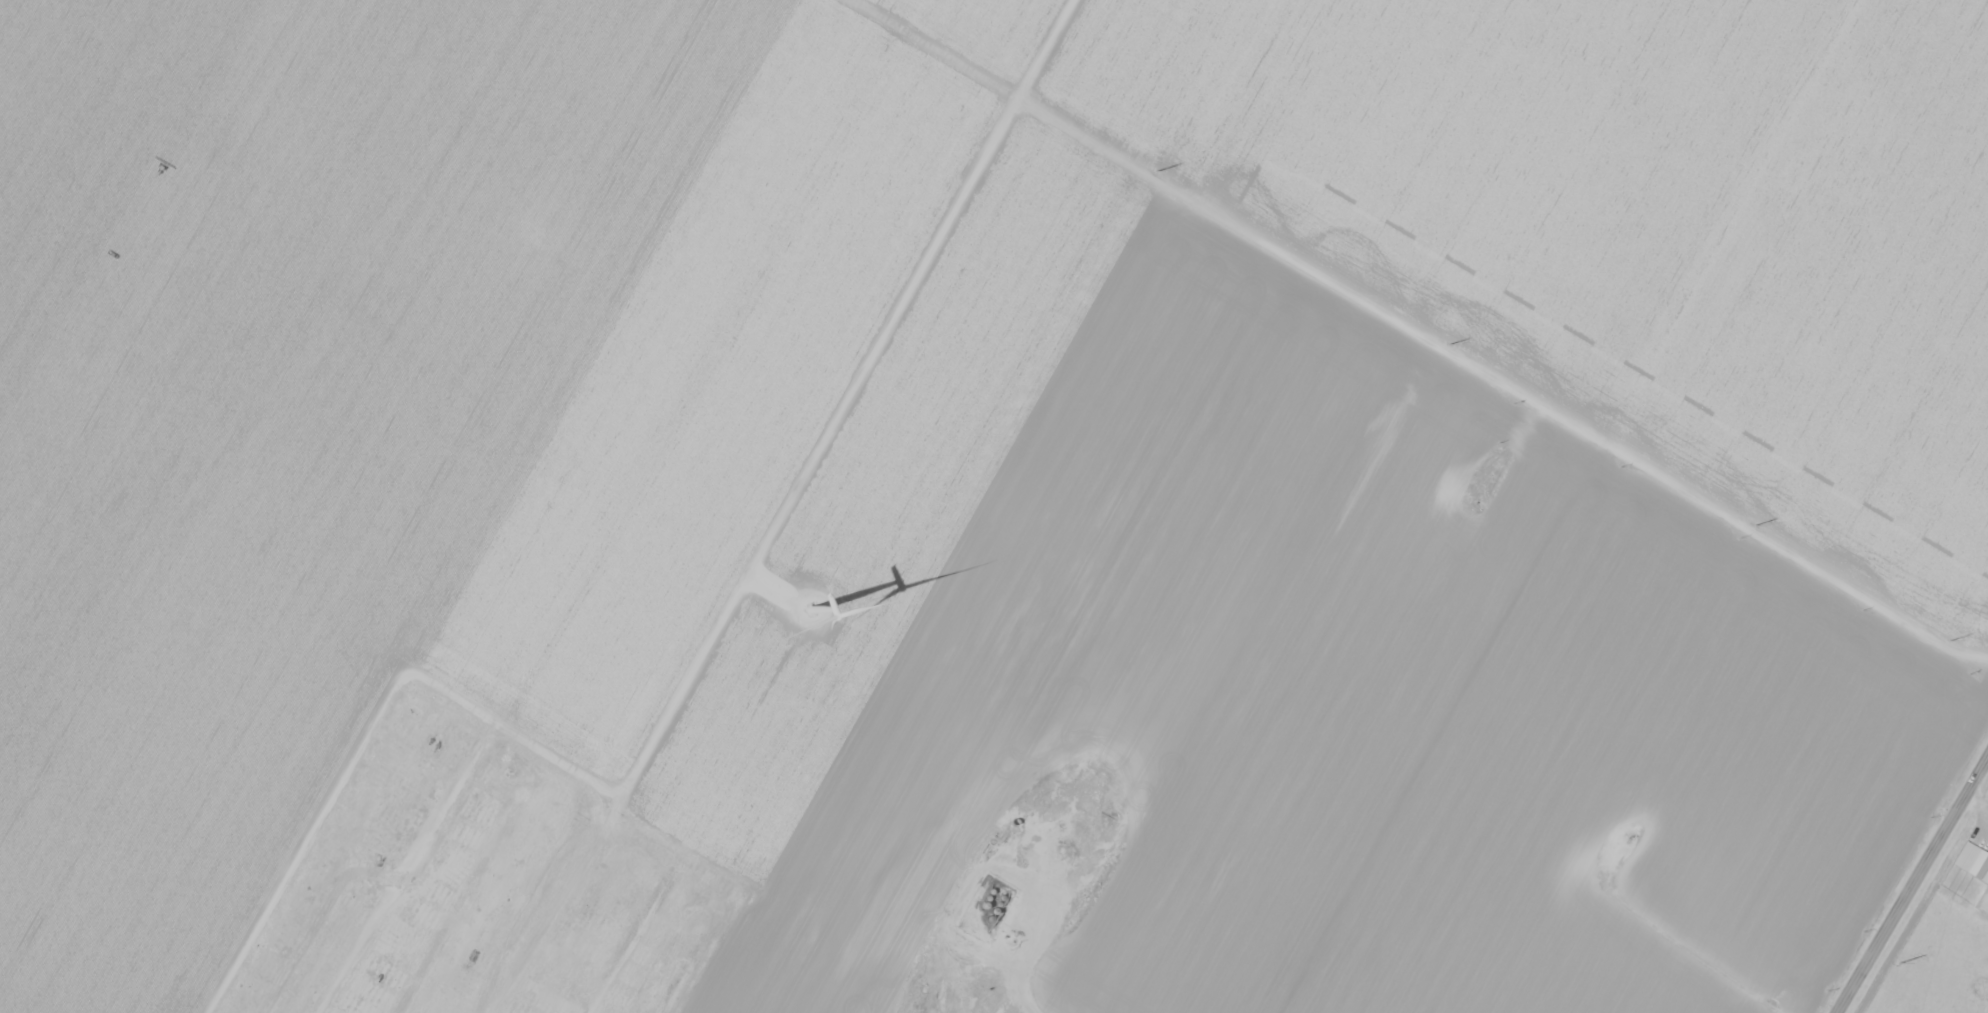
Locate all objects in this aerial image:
power tower: (1156, 170)
power tower: (1447, 342)
road: (1501, 380)
power tower: (1756, 523)
road: (764, 589)
wind turbine: (829, 606)
power tower: (1950, 639)
road: (680, 677)
building: (1971, 861)
road: (1912, 884)
building: (1983, 904)
power tower: (1898, 961)
road: (1022, 965)

